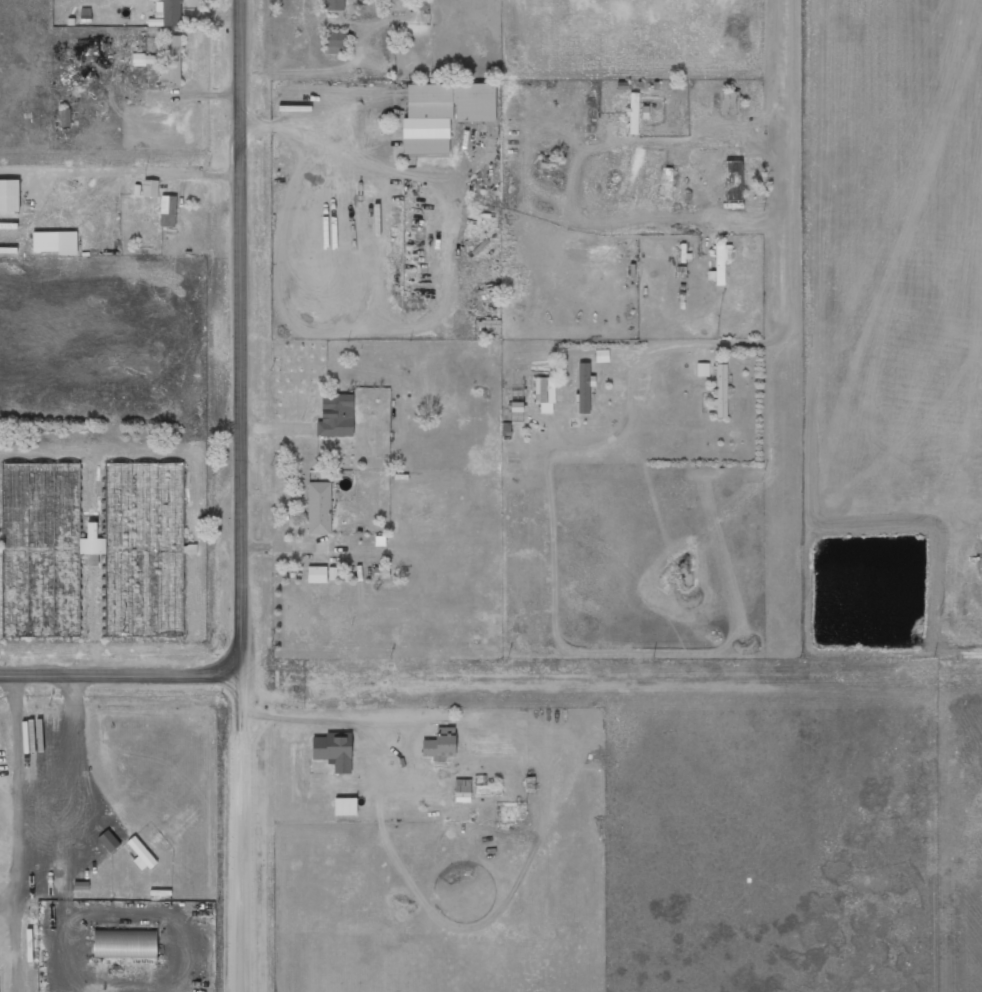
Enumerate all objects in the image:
building: (334, 5)
building: (418, 5)
building: (169, 11)
building: (335, 42)
building: (142, 57)
building: (172, 64)
building: (729, 103)
building: (442, 114)
building: (65, 117)
building: (732, 180)
building: (150, 188)
building: (9, 195)
building: (167, 210)
building: (54, 242)
building: (720, 263)
road: (784, 323)
building: (702, 369)
building: (584, 388)
building: (721, 390)
building: (544, 394)
building: (335, 415)
road: (244, 496)
building: (141, 503)
building: (318, 507)
building: (316, 574)
road: (490, 669)
building: (440, 743)
building: (334, 750)
building: (462, 797)
building: (345, 806)
building: (141, 854)
building: (124, 944)

